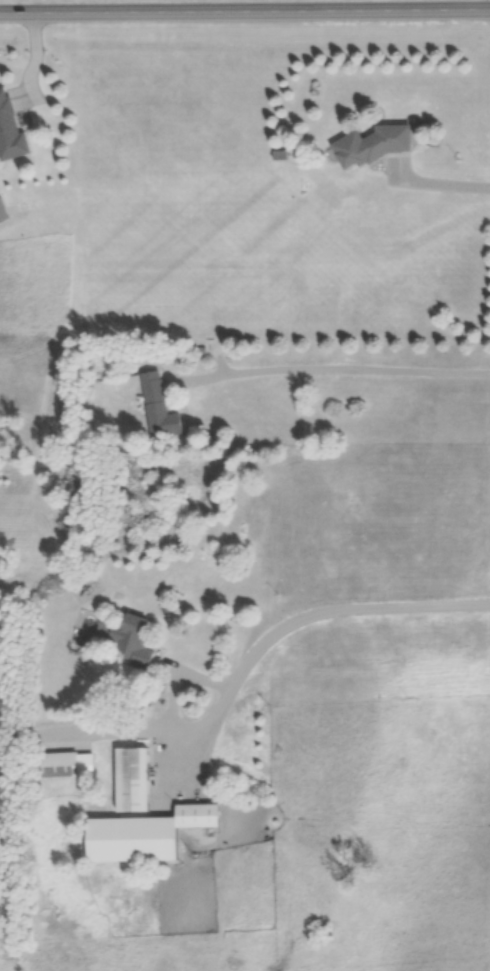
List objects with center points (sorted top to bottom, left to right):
road: (245, 13)
road: (37, 58)
building: (11, 130)
building: (379, 146)
road: (445, 183)
road: (340, 367)
building: (160, 408)
building: (127, 639)
road: (242, 669)
road: (162, 691)
building: (60, 766)
building: (134, 779)
building: (202, 817)
building: (135, 840)

